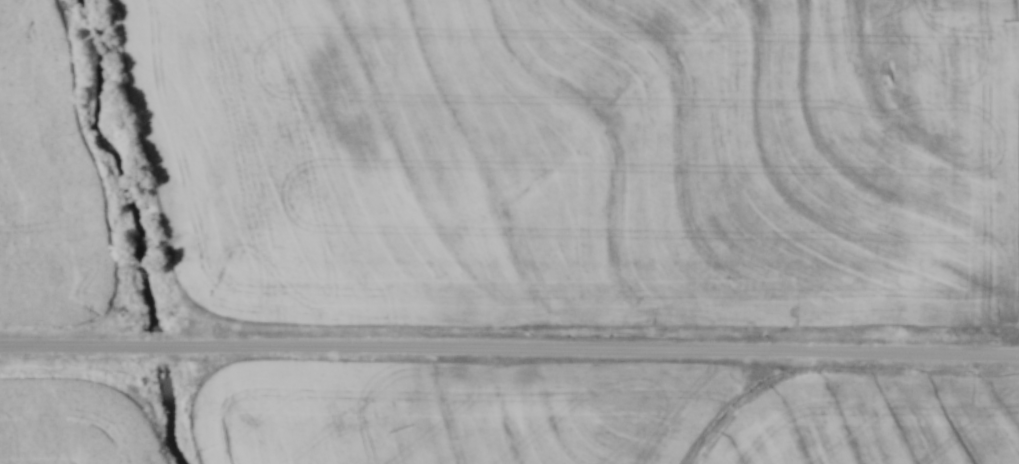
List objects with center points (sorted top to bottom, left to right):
road: (509, 351)

